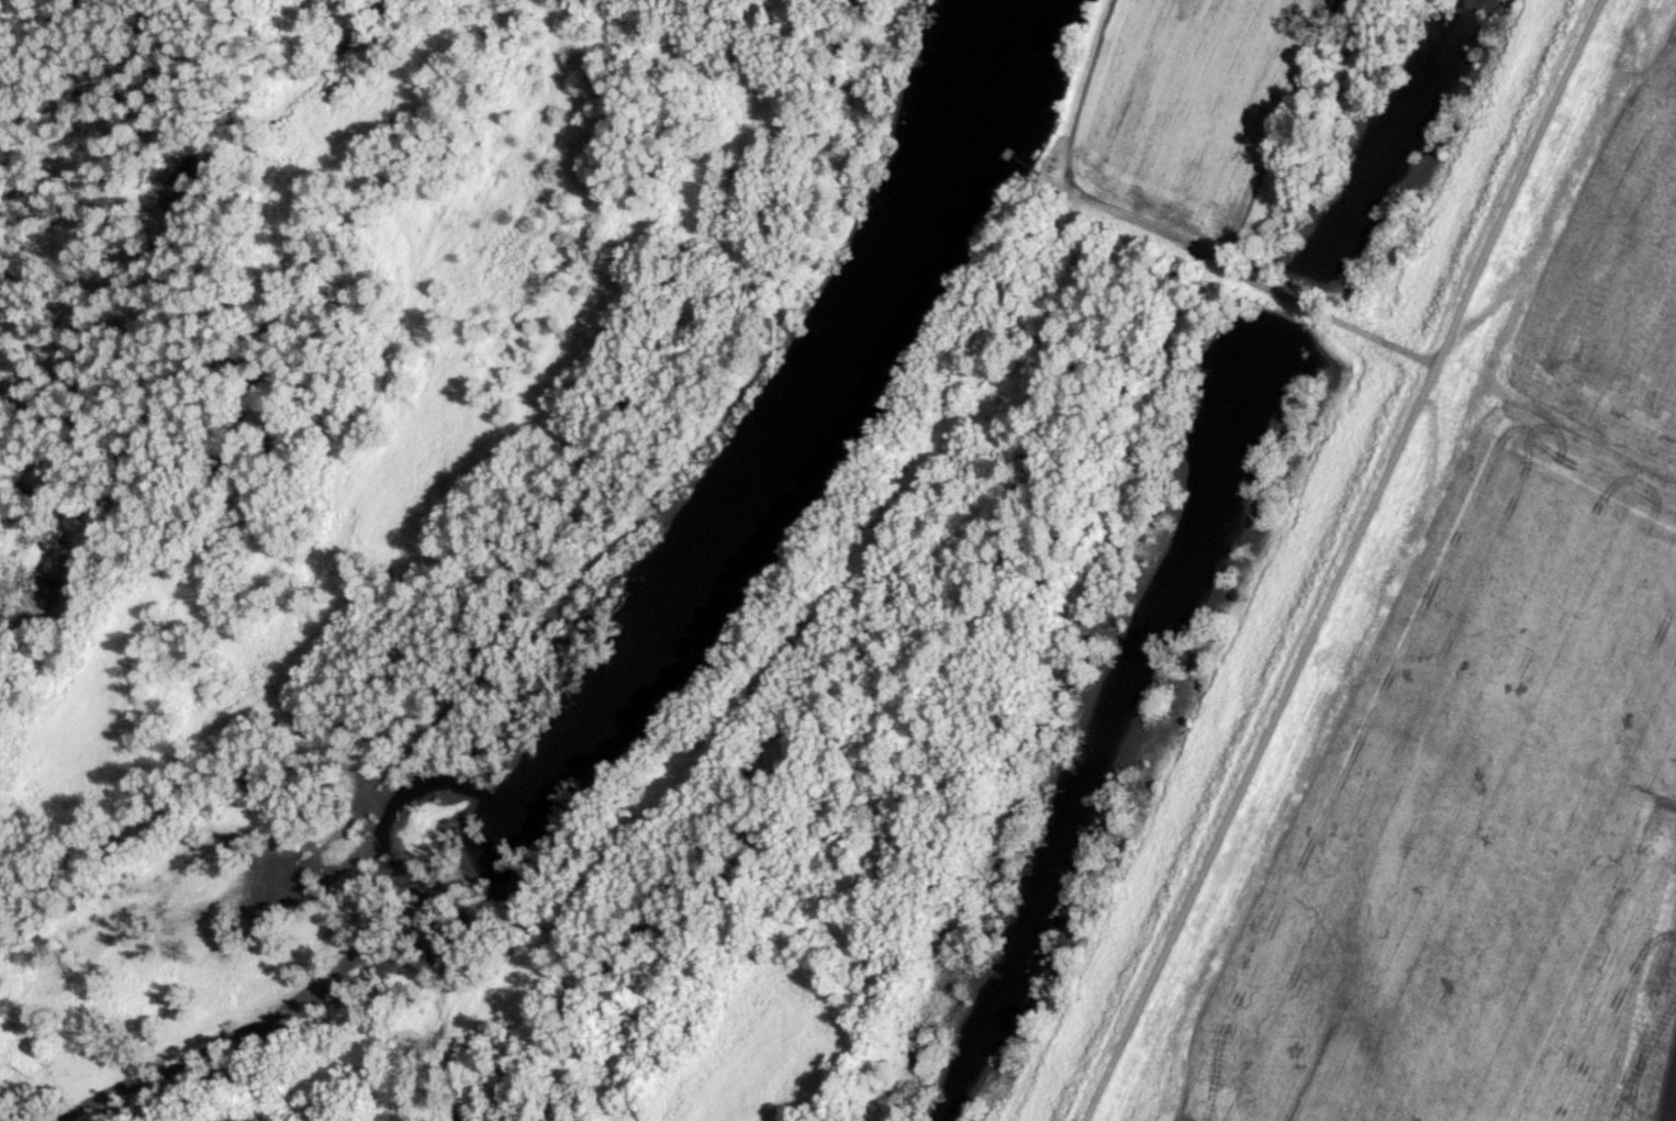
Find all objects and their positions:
road: (1344, 561)

